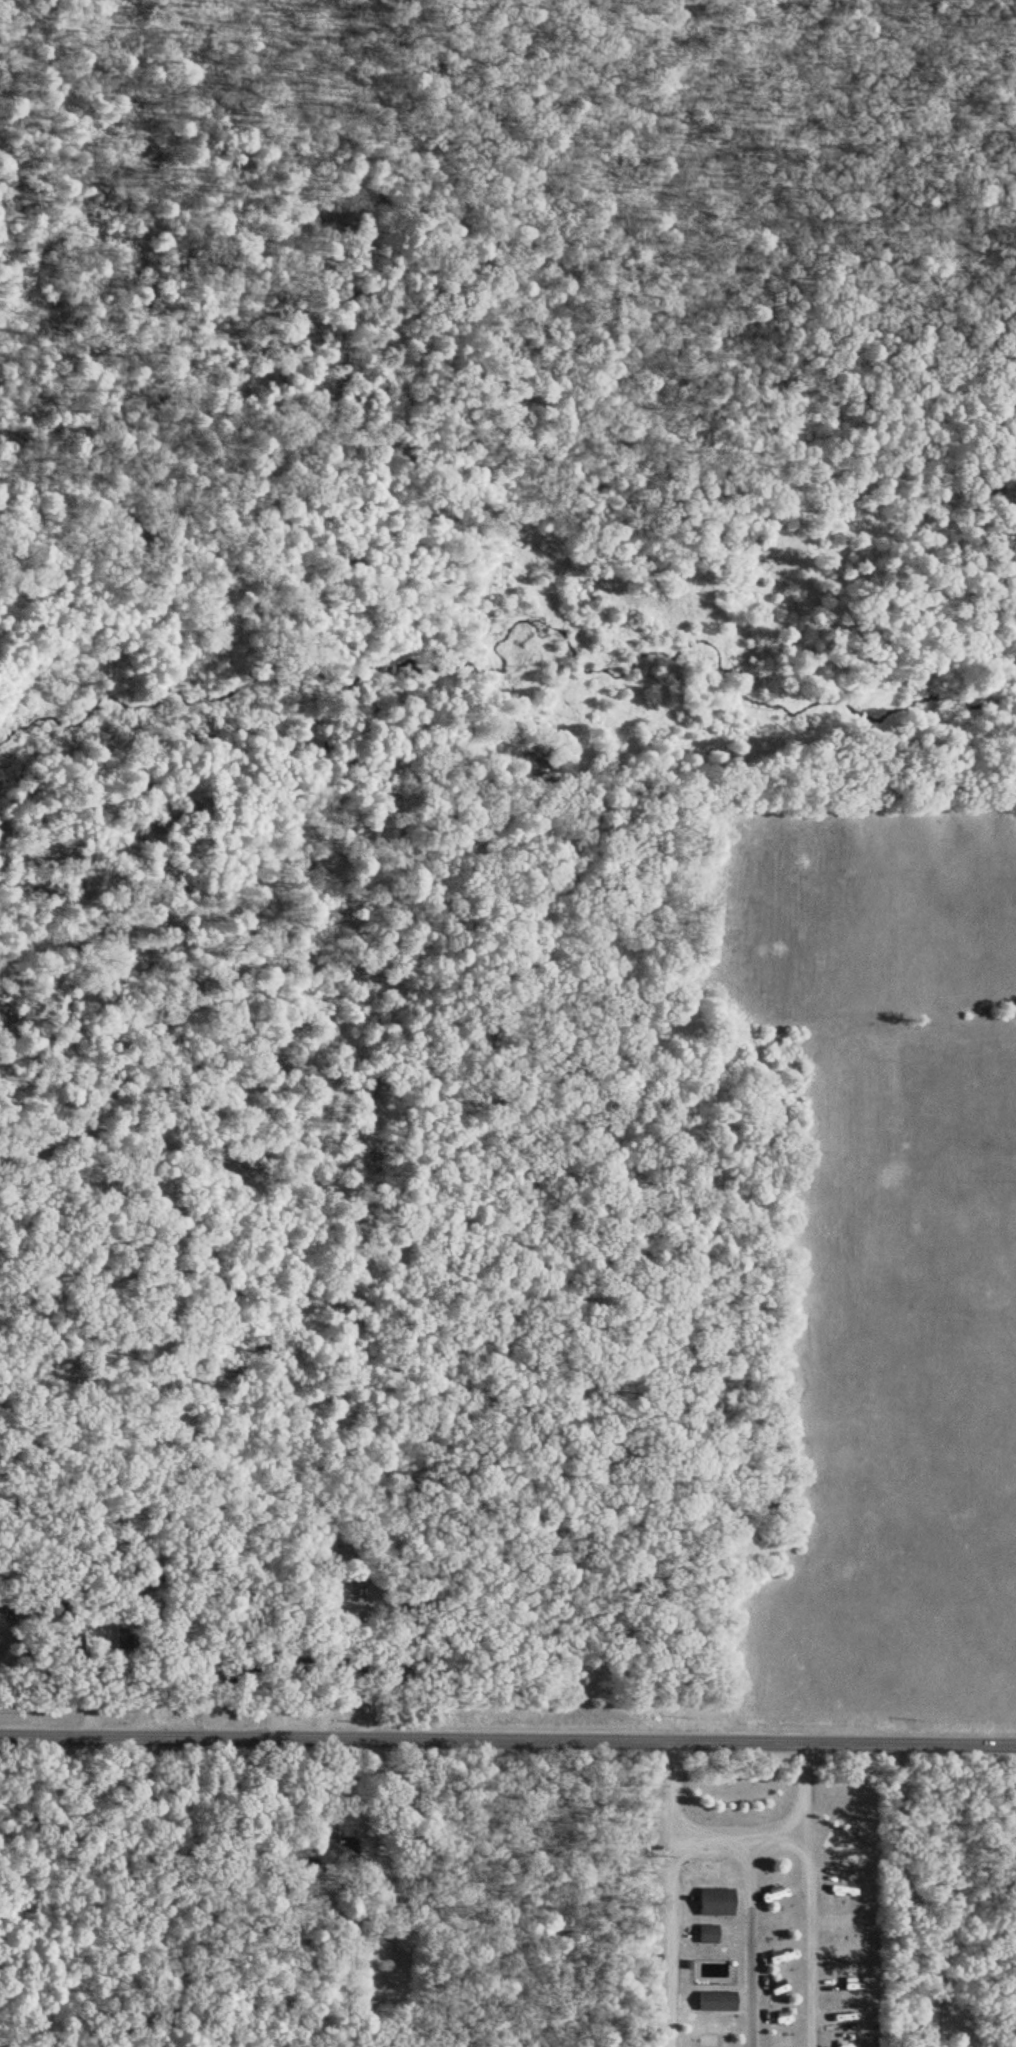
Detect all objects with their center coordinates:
building: (61, 1632)
building: (241, 1667)
road: (507, 1739)
road: (736, 1834)
road: (915, 1896)
building: (715, 1898)
building: (707, 1929)
road: (752, 1940)
road: (806, 1940)
road: (670, 1941)
building: (716, 1997)

